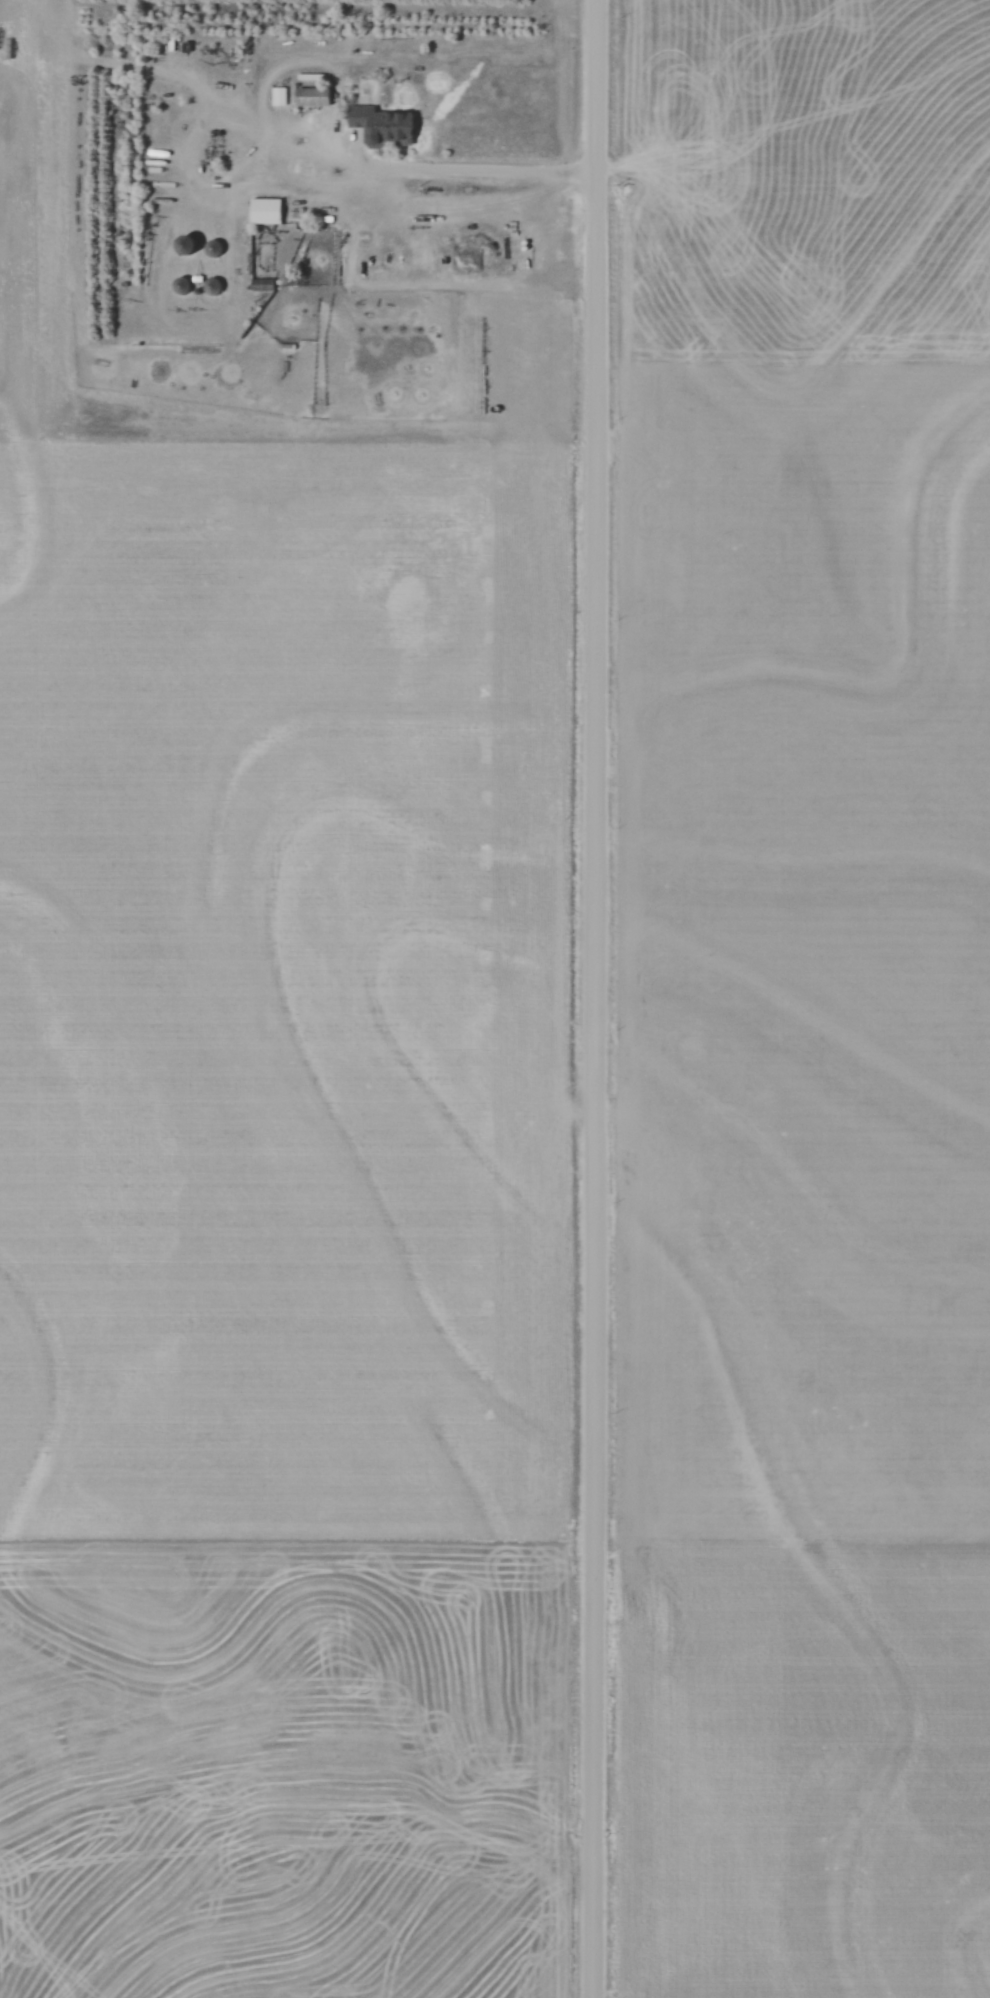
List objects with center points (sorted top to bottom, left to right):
building: (279, 94)
building: (314, 94)
building: (378, 117)
road: (444, 170)
building: (266, 209)
building: (187, 243)
building: (214, 248)
building: (197, 250)
silo: (197, 250)
building: (224, 251)
silo: (224, 251)
building: (181, 284)
building: (262, 284)
building: (212, 285)
building: (192, 287)
silo: (192, 287)
building: (223, 289)
silo: (223, 289)
road: (598, 998)

